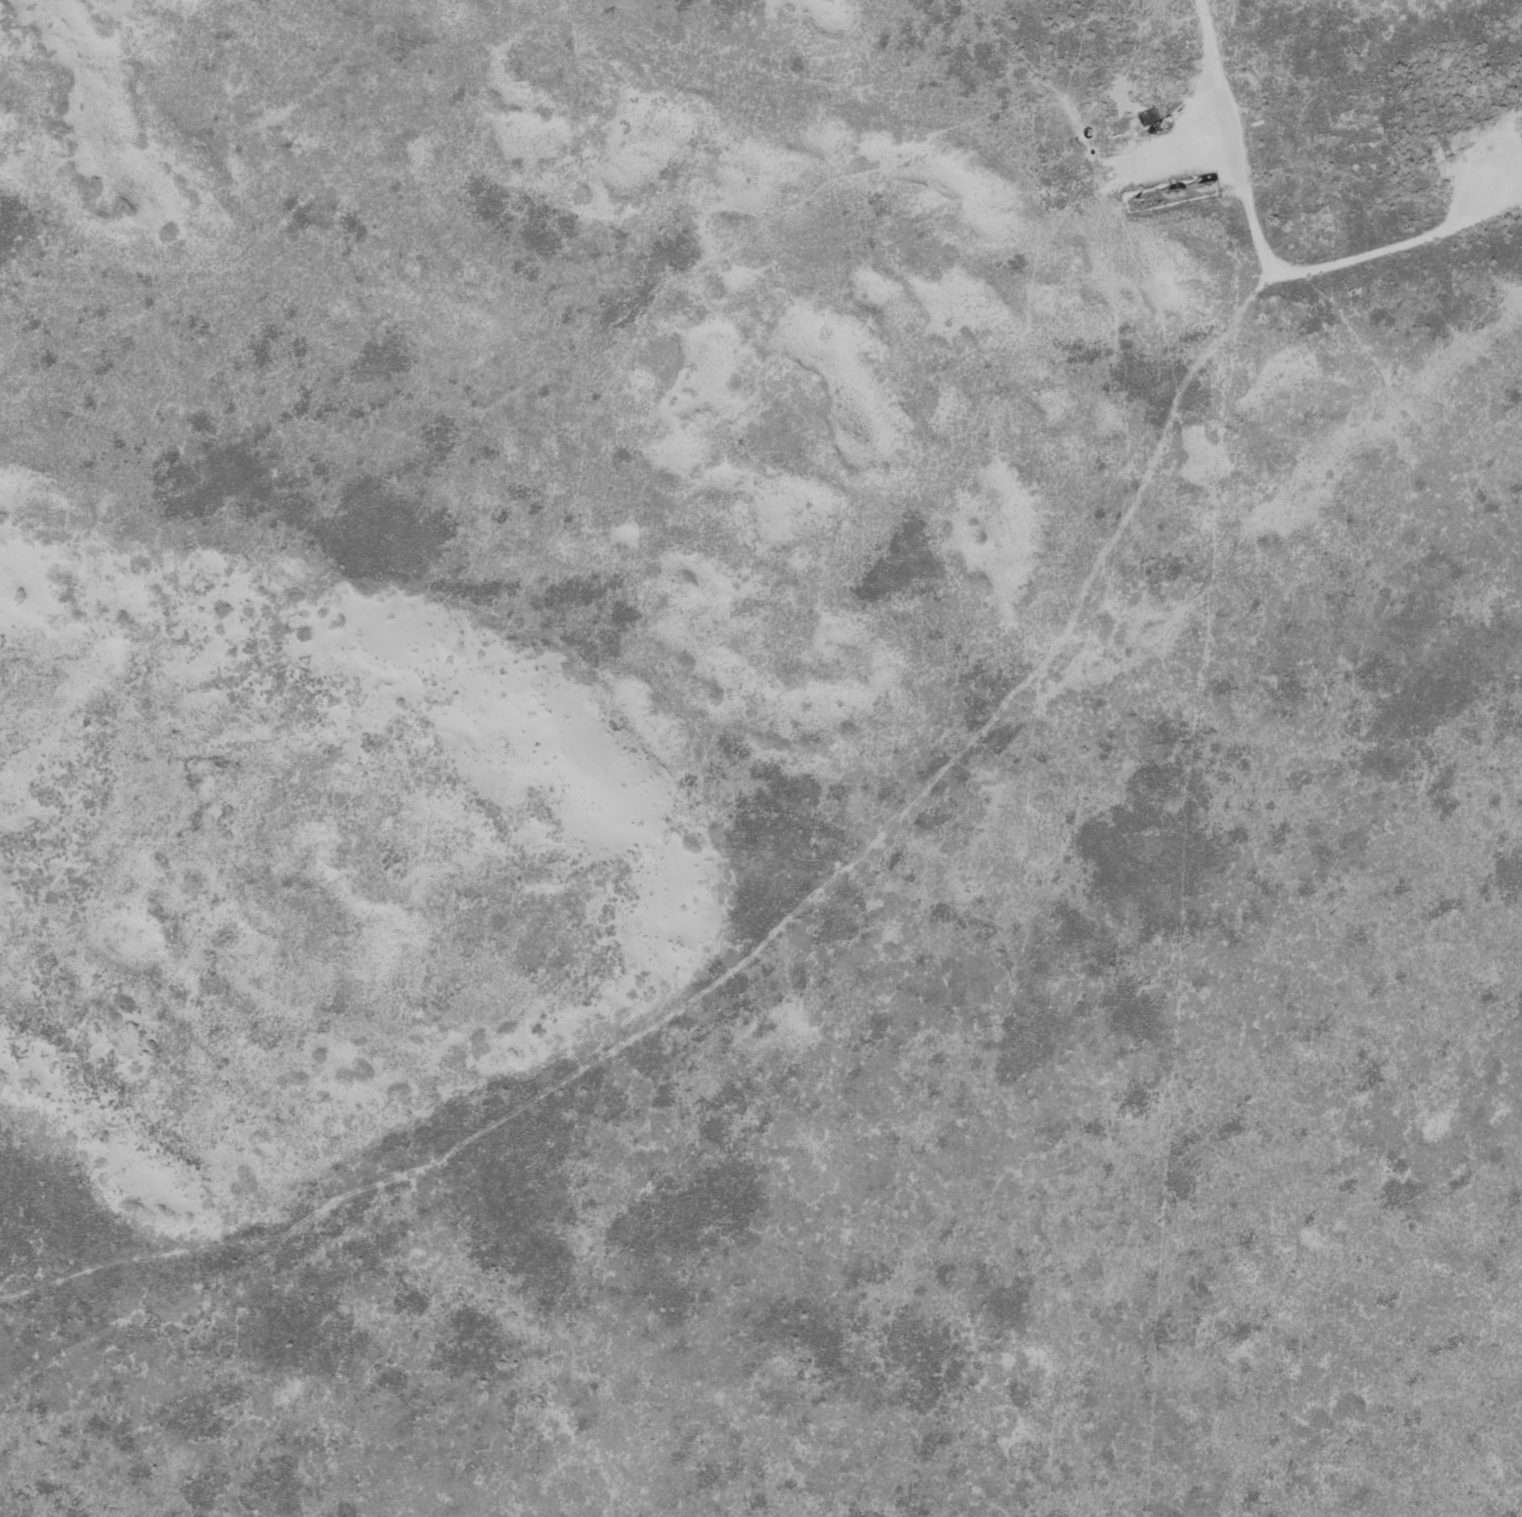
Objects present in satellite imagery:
road: (1273, 248)

